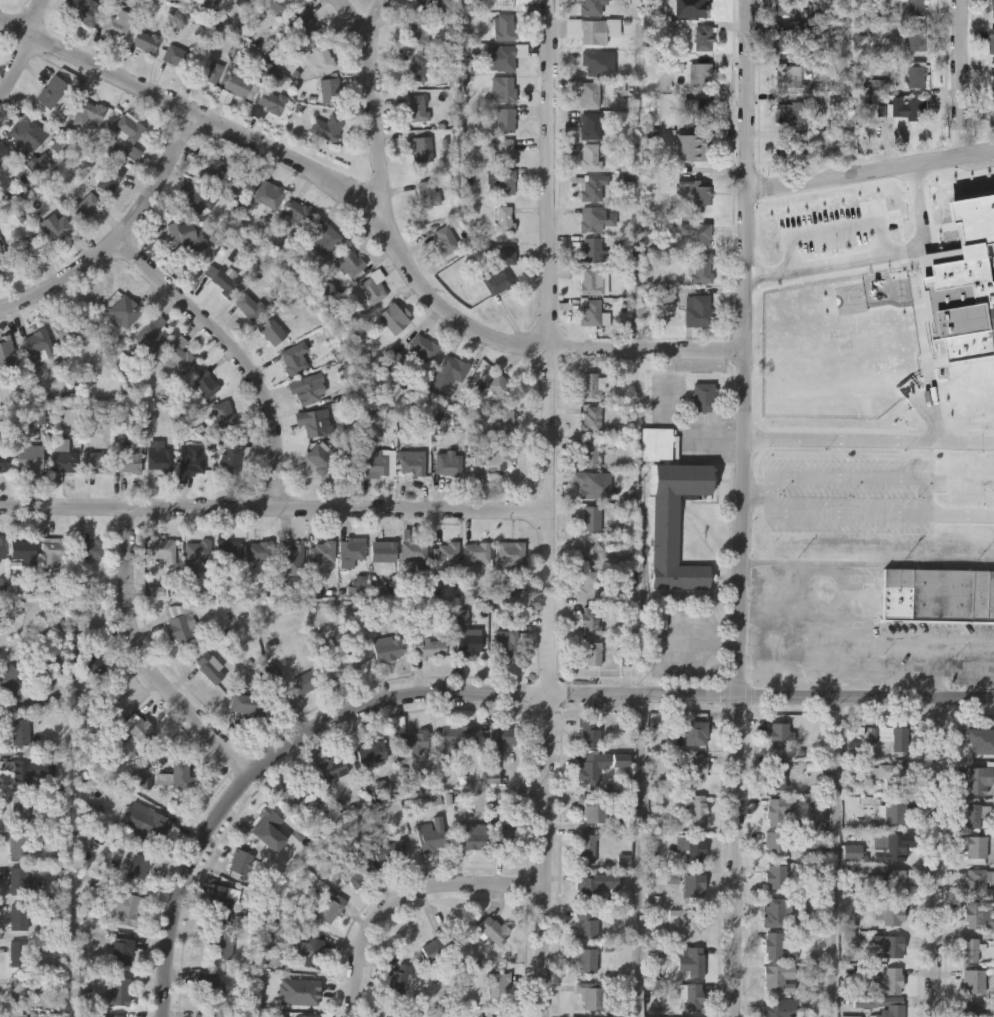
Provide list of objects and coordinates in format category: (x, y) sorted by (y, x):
building: (250, 1)
building: (428, 4)
building: (505, 4)
building: (703, 6)
building: (278, 7)
building: (592, 7)
building: (787, 7)
building: (918, 7)
building: (993, 8)
building: (85, 11)
road: (373, 22)
building: (117, 24)
building: (505, 26)
building: (305, 28)
building: (595, 29)
building: (418, 31)
building: (705, 36)
building: (785, 38)
building: (917, 39)
building: (145, 40)
building: (992, 40)
road: (23, 48)
building: (176, 55)
building: (503, 56)
building: (321, 57)
building: (591, 63)
building: (416, 66)
building: (209, 70)
building: (701, 73)
building: (790, 75)
building: (917, 76)
building: (993, 76)
road: (961, 77)
building: (238, 81)
building: (330, 88)
building: (503, 88)
building: (51, 90)
building: (589, 93)
building: (270, 101)
building: (837, 101)
building: (416, 107)
building: (909, 107)
building: (700, 109)
building: (792, 110)
building: (87, 111)
building: (992, 111)
road: (375, 113)
building: (505, 119)
building: (590, 124)
building: (129, 125)
building: (327, 126)
building: (26, 131)
building: (695, 145)
building: (785, 146)
building: (422, 147)
building: (3, 149)
building: (590, 155)
building: (506, 164)
building: (211, 168)
road: (869, 170)
parking lot: (917, 178)
building: (592, 186)
building: (427, 192)
building: (702, 192)
building: (268, 194)
building: (196, 196)
building: (90, 203)
building: (299, 210)
parking lot: (986, 215)
building: (504, 217)
building: (591, 218)
road: (372, 219)
building: (58, 227)
road: (834, 229)
building: (181, 232)
building: (701, 233)
road: (122, 237)
building: (324, 238)
building: (443, 239)
building: (26, 246)
building: (591, 249)
road: (873, 254)
building: (965, 256)
building: (2, 262)
building: (345, 263)
building: (702, 266)
building: (500, 270)
building: (225, 279)
building: (592, 280)
building: (372, 285)
building: (869, 290)
building: (249, 304)
building: (115, 309)
building: (698, 309)
building: (591, 311)
building: (393, 317)
building: (66, 326)
building: (272, 330)
building: (152, 332)
building: (37, 342)
building: (421, 346)
building: (7, 354)
road: (236, 354)
building: (179, 356)
building: (294, 356)
building: (447, 373)
building: (205, 382)
building: (590, 384)
building: (500, 386)
building: (305, 389)
building: (704, 397)
road: (939, 407)
building: (223, 412)
building: (590, 418)
road: (676, 419)
building: (315, 420)
building: (506, 422)
parking lot: (692, 422)
road: (868, 440)
building: (587, 454)
building: (29, 456)
building: (61, 456)
building: (128, 457)
building: (230, 457)
building: (320, 457)
building: (4, 458)
building: (159, 458)
building: (189, 459)
building: (411, 461)
building: (94, 462)
building: (377, 462)
building: (448, 463)
building: (589, 483)
road: (757, 497)
parking lot: (853, 497)
road: (926, 499)
road: (273, 506)
road: (546, 508)
building: (673, 508)
road: (741, 508)
road: (960, 516)
building: (593, 517)
building: (2, 547)
building: (53, 548)
building: (90, 548)
building: (22, 549)
building: (162, 549)
building: (351, 549)
building: (414, 549)
building: (259, 550)
building: (324, 550)
building: (445, 550)
building: (590, 550)
building: (383, 551)
building: (229, 552)
building: (476, 552)
building: (197, 555)
building: (511, 555)
building: (290, 560)
road: (867, 562)
building: (589, 583)
building: (938, 595)
building: (589, 619)
building: (179, 627)
road: (927, 641)
building: (468, 643)
building: (507, 643)
building: (429, 646)
parking lot: (688, 646)
building: (387, 647)
road: (659, 647)
road: (730, 650)
building: (591, 653)
road: (826, 655)
road: (149, 657)
building: (343, 661)
building: (94, 662)
building: (211, 667)
building: (10, 681)
building: (305, 681)
building: (112, 697)
road: (480, 701)
building: (248, 704)
building: (141, 728)
building: (20, 731)
building: (589, 732)
building: (696, 732)
building: (778, 733)
building: (455, 734)
building: (502, 734)
building: (891, 735)
building: (118, 737)
building: (414, 739)
building: (981, 739)
building: (370, 749)
building: (591, 766)
building: (695, 766)
building: (333, 767)
building: (23, 772)
building: (777, 774)
building: (889, 774)
building: (178, 775)
building: (493, 775)
building: (980, 779)
building: (297, 793)
building: (20, 806)
building: (593, 806)
building: (697, 808)
building: (779, 808)
building: (895, 810)
building: (973, 815)
building: (156, 826)
building: (268, 828)
building: (431, 833)
building: (497, 836)
building: (469, 839)
building: (776, 841)
building: (19, 844)
building: (691, 846)
building: (894, 846)
building: (977, 846)
building: (587, 848)
building: (392, 850)
road: (642, 860)
road: (838, 860)
building: (241, 861)
road: (941, 861)
building: (139, 865)
building: (357, 871)
building: (776, 876)
building: (18, 880)
building: (889, 881)
building: (976, 881)
building: (594, 883)
building: (693, 884)
road: (405, 895)
building: (223, 901)
building: (123, 908)
building: (776, 911)
building: (889, 912)
building: (977, 913)
building: (18, 914)
building: (687, 919)
building: (587, 922)
building: (494, 929)
building: (776, 945)
building: (219, 946)
building: (892, 946)
building: (436, 948)
building: (971, 949)
building: (122, 950)
building: (17, 951)
building: (314, 952)
building: (586, 959)
building: (691, 959)
building: (778, 977)
building: (399, 978)
building: (888, 980)
building: (975, 980)
building: (208, 984)
building: (498, 985)
building: (16, 988)
building: (120, 990)
building: (309, 992)
building: (591, 994)
building: (691, 996)
building: (780, 1007)
building: (975, 1009)
building: (895, 1010)
building: (17, 1014)
building: (207, 1015)
building: (313, 1015)
building: (394, 1016)
building: (494, 1016)

